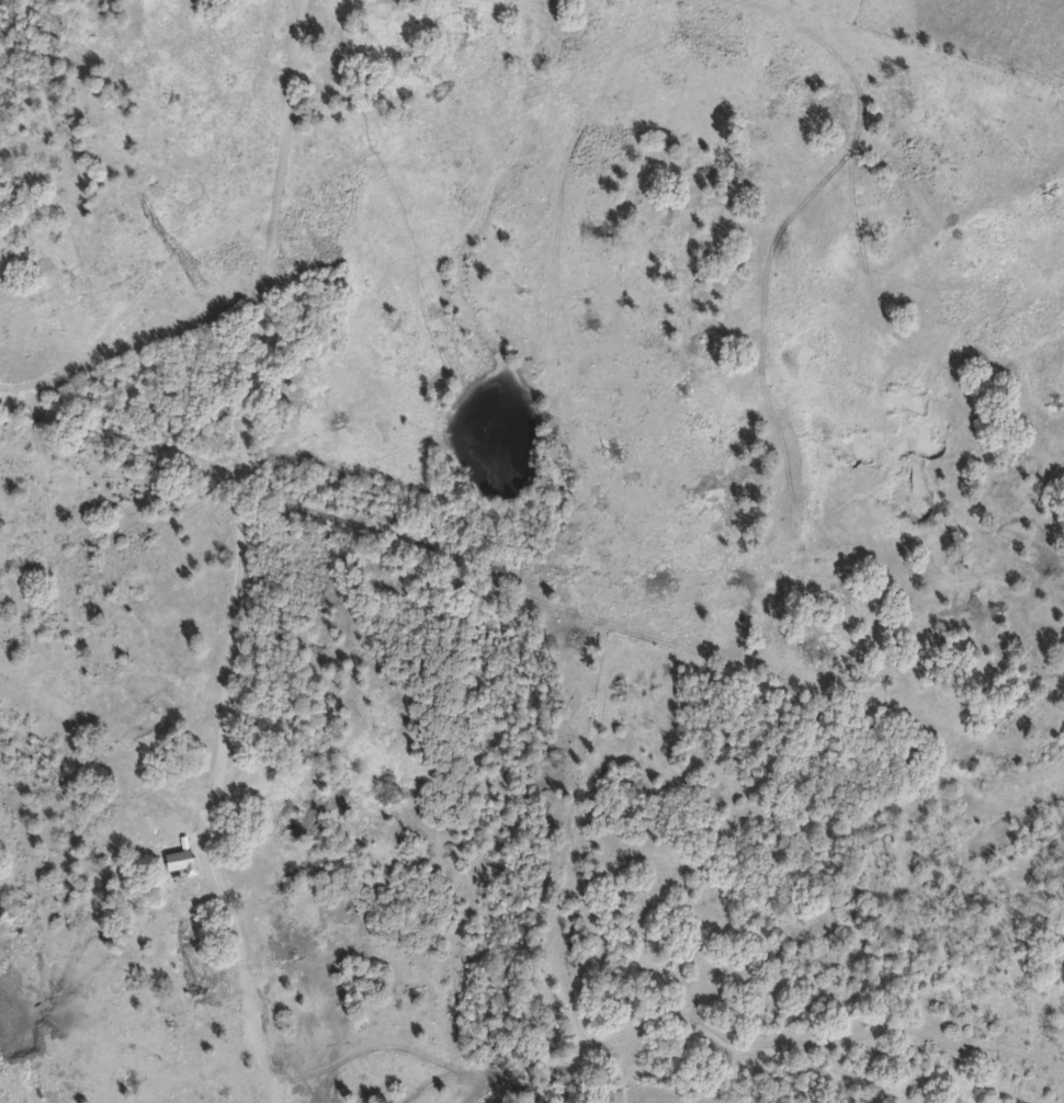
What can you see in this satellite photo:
power tower: (206, 266)
road: (234, 554)
building: (181, 862)

